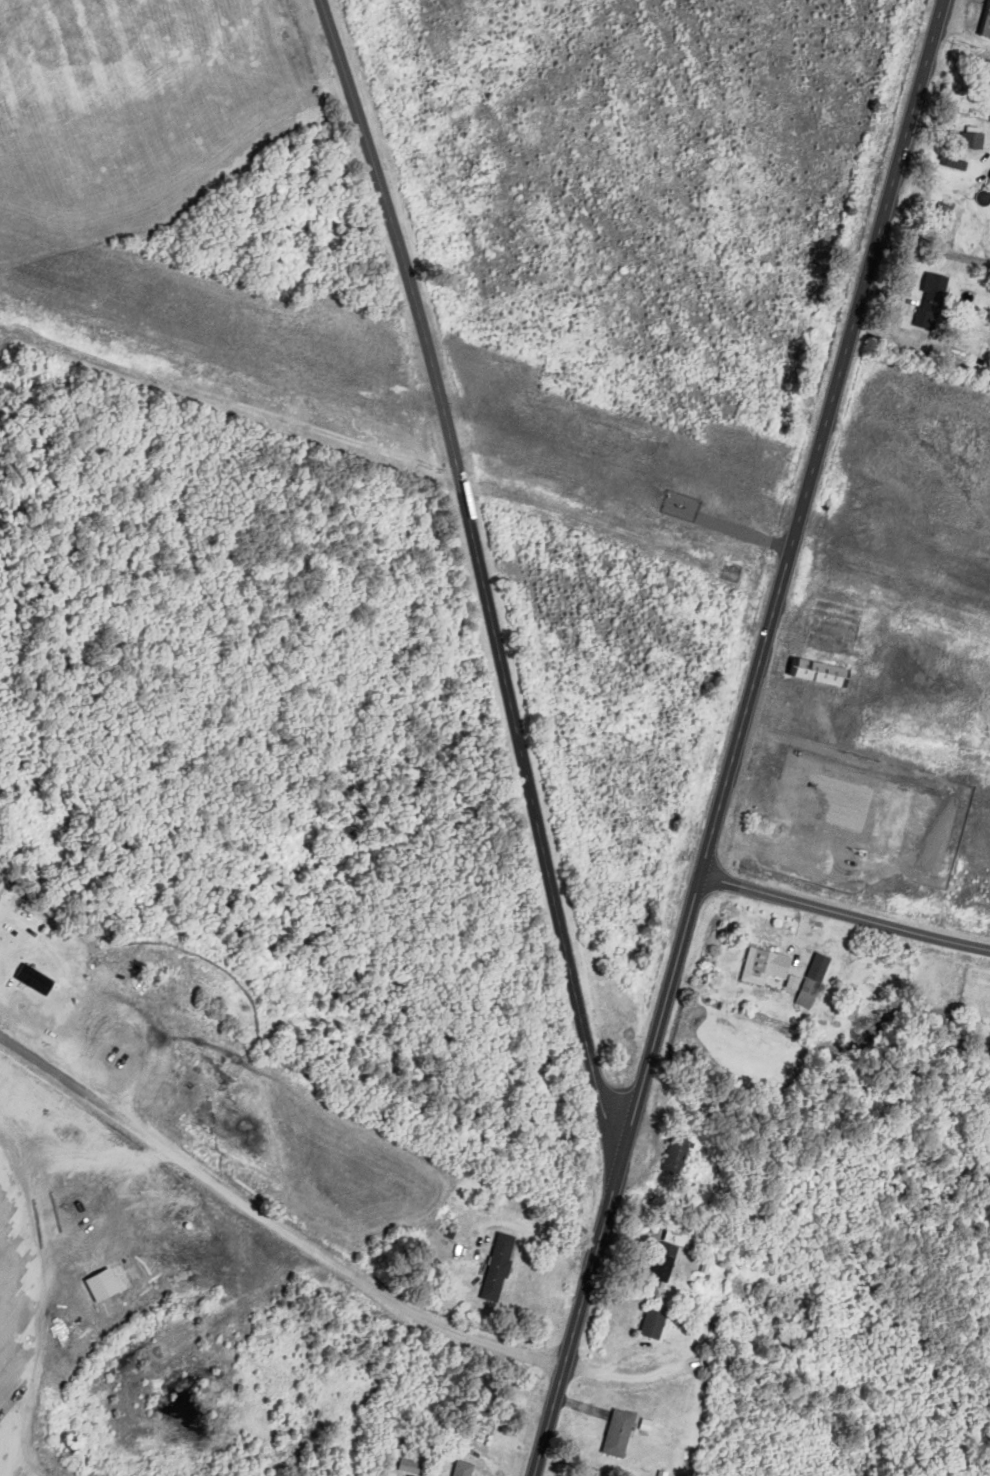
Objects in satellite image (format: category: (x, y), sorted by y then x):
building: (988, 33)
building: (976, 140)
road: (367, 142)
building: (946, 208)
road: (934, 251)
building: (933, 301)
road: (220, 396)
road: (785, 568)
building: (824, 673)
road: (512, 715)
building: (770, 828)
road: (845, 913)
building: (772, 969)
building: (36, 976)
building: (816, 981)
building: (679, 1156)
road: (271, 1224)
building: (672, 1253)
building: (501, 1268)
road: (581, 1307)
building: (656, 1325)
building: (621, 1434)
building: (412, 1467)
building: (467, 1469)

